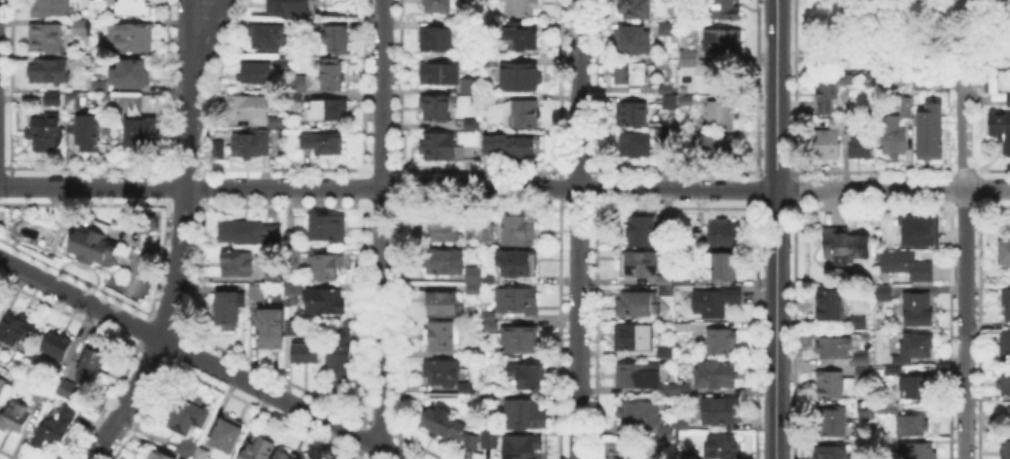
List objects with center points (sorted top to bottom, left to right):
road: (193, 6)
building: (438, 6)
building: (52, 8)
building: (133, 8)
building: (289, 8)
building: (521, 8)
building: (632, 10)
building: (726, 10)
building: (295, 26)
building: (664, 26)
building: (310, 27)
building: (82, 28)
road: (890, 35)
park: (902, 35)
building: (268, 38)
building: (337, 38)
building: (45, 39)
building: (436, 39)
building: (520, 39)
building: (131, 40)
building: (632, 40)
building: (723, 43)
road: (902, 46)
road: (972, 54)
building: (688, 59)
road: (785, 59)
road: (870, 60)
road: (970, 62)
building: (283, 63)
building: (490, 64)
building: (48, 73)
building: (313, 73)
building: (630, 73)
building: (131, 74)
building: (258, 74)
building: (440, 74)
building: (333, 75)
building: (521, 75)
building: (922, 79)
building: (295, 83)
building: (990, 85)
building: (101, 87)
building: (470, 87)
building: (666, 90)
building: (828, 91)
building: (1008, 99)
building: (53, 100)
building: (74, 101)
building: (685, 101)
building: (667, 103)
building: (905, 108)
building: (327, 109)
building: (436, 109)
building: (254, 111)
building: (522, 114)
building: (632, 115)
building: (721, 116)
building: (838, 124)
building: (472, 126)
building: (850, 127)
road: (960, 129)
building: (1000, 129)
building: (87, 130)
building: (46, 131)
building: (927, 131)
building: (140, 135)
building: (893, 136)
building: (324, 144)
building: (825, 144)
building: (251, 146)
building: (470, 146)
building: (511, 146)
building: (635, 146)
building: (720, 146)
building: (439, 147)
building: (861, 148)
road: (504, 188)
road: (380, 223)
building: (328, 229)
road: (577, 229)
road: (776, 229)
building: (147, 230)
building: (442, 230)
building: (249, 232)
building: (472, 232)
building: (489, 232)
building: (520, 232)
building: (906, 232)
building: (643, 233)
building: (724, 233)
road: (966, 235)
road: (181, 237)
building: (290, 239)
building: (697, 241)
building: (95, 245)
building: (845, 247)
building: (1005, 252)
building: (292, 258)
building: (445, 263)
building: (515, 263)
building: (237, 264)
building: (638, 265)
building: (324, 267)
building: (726, 267)
building: (907, 267)
building: (474, 276)
building: (273, 279)
building: (489, 282)
building: (666, 282)
building: (684, 282)
building: (474, 290)
building: (257, 292)
building: (885, 294)
building: (290, 295)
building: (324, 301)
building: (515, 301)
building: (715, 303)
building: (638, 305)
building: (443, 306)
building: (827, 307)
building: (1006, 308)
building: (918, 310)
building: (228, 315)
building: (858, 322)
building: (292, 325)
building: (270, 326)
building: (489, 327)
building: (685, 328)
building: (16, 330)
building: (442, 338)
building: (633, 338)
building: (521, 340)
building: (722, 342)
building: (56, 345)
building: (1006, 347)
building: (835, 349)
building: (915, 349)
building: (304, 352)
building: (666, 352)
building: (862, 356)
road: (201, 358)
building: (341, 359)
building: (91, 368)
road: (965, 370)
building: (442, 372)
building: (893, 373)
building: (864, 374)
building: (524, 376)
building: (717, 376)
building: (638, 377)
building: (832, 383)
building: (1005, 384)
building: (62, 387)
building: (3, 388)
building: (917, 388)
building: (667, 389)
building: (682, 390)
building: (467, 391)
building: (42, 396)
building: (488, 397)
building: (720, 410)
building: (865, 411)
building: (640, 413)
building: (189, 415)
building: (528, 416)
building: (14, 417)
building: (1009, 419)
building: (834, 423)
building: (680, 424)
building: (912, 426)
building: (54, 427)
building: (450, 428)
building: (228, 433)
building: (667, 434)
building: (490, 440)
building: (522, 447)
building: (719, 447)
building: (260, 450)
building: (829, 451)
building: (918, 451)
building: (1005, 451)
building: (191, 452)
building: (156, 456)
building: (285, 456)

